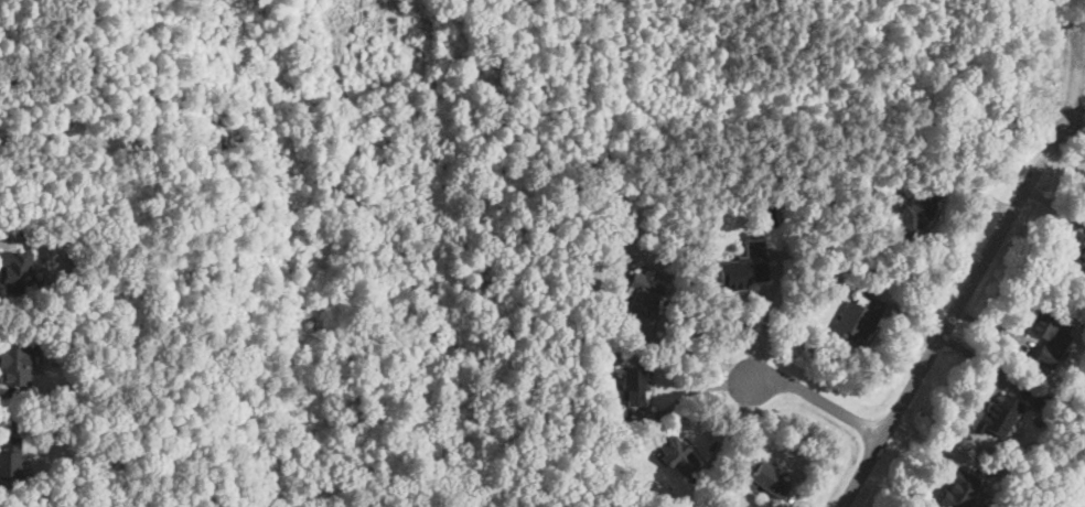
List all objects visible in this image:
road: (1065, 107)
building: (915, 215)
building: (1083, 246)
building: (1081, 265)
building: (745, 266)
building: (15, 271)
building: (643, 295)
road: (766, 313)
building: (858, 319)
road: (941, 332)
building: (1045, 338)
building: (18, 364)
building: (635, 387)
road: (688, 393)
road: (817, 397)
building: (996, 414)
building: (678, 456)
building: (10, 457)
building: (770, 479)
building: (954, 489)

